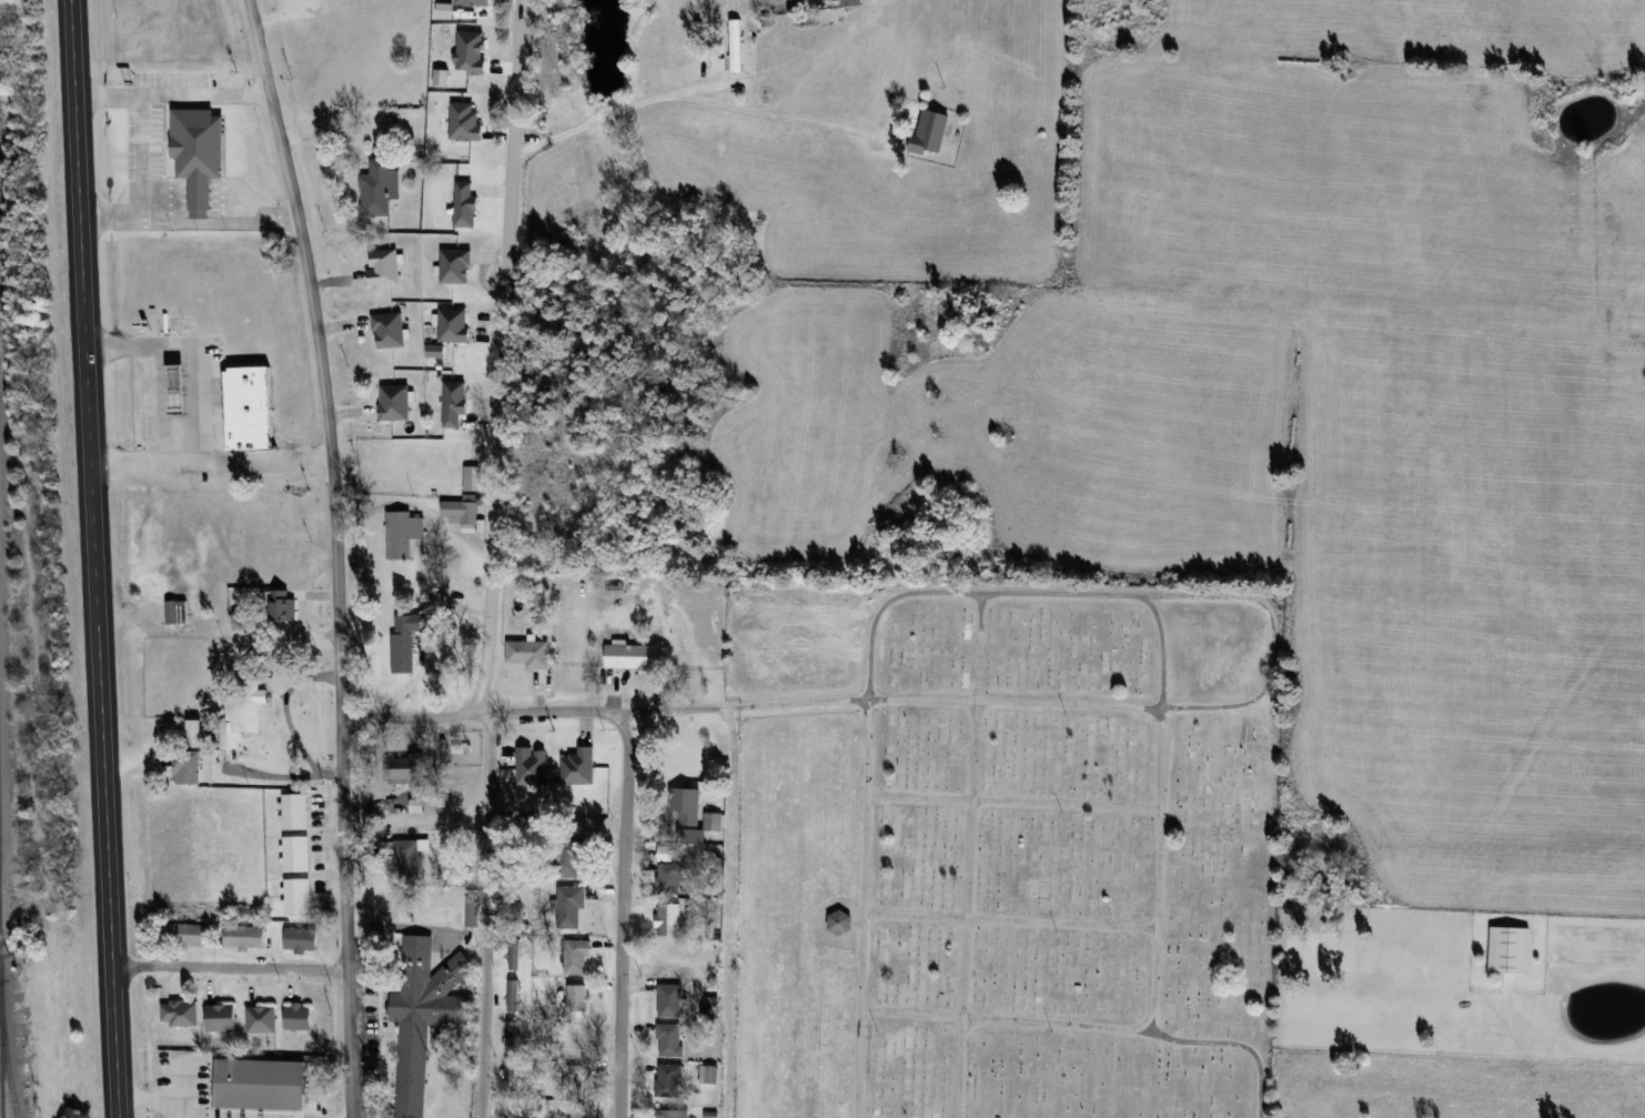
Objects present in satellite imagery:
building: (851, 2)
building: (737, 50)
building: (719, 69)
road: (704, 87)
road: (173, 92)
road: (692, 97)
road: (514, 128)
building: (932, 138)
building: (200, 154)
building: (379, 189)
road: (114, 221)
road: (154, 221)
building: (384, 266)
building: (455, 266)
building: (453, 325)
building: (388, 330)
building: (179, 381)
building: (394, 403)
road: (148, 405)
building: (251, 409)
road: (205, 414)
road: (152, 464)
building: (472, 479)
building: (403, 534)
road: (337, 554)
road: (100, 558)
road: (917, 592)
building: (435, 600)
building: (283, 605)
building: (178, 611)
building: (239, 621)
building: (627, 623)
building: (408, 637)
road: (982, 647)
road: (1163, 647)
building: (529, 656)
building: (627, 659)
road: (483, 687)
road: (939, 699)
building: (242, 713)
road: (532, 713)
building: (559, 749)
building: (191, 755)
building: (407, 769)
road: (1013, 802)
building: (686, 804)
building: (295, 810)
park: (1006, 846)
building: (296, 853)
building: (571, 856)
building: (407, 859)
road: (1158, 870)
building: (673, 878)
building: (297, 896)
building: (571, 906)
road: (968, 909)
road: (730, 910)
building: (472, 913)
road: (625, 915)
building: (674, 918)
road: (1009, 920)
building: (840, 921)
building: (184, 934)
building: (244, 937)
building: (301, 940)
building: (1512, 953)
building: (576, 956)
building: (513, 957)
road: (229, 968)
building: (512, 995)
building: (578, 997)
building: (670, 999)
building: (712, 1004)
building: (180, 1014)
building: (423, 1015)
building: (297, 1017)
building: (221, 1018)
building: (262, 1019)
road: (1091, 1026)
building: (511, 1036)
building: (577, 1037)
building: (669, 1039)
railway: (1, 1056)
building: (511, 1075)
building: (574, 1079)
building: (669, 1080)
building: (262, 1084)
road: (148, 1102)
building: (667, 1112)
building: (710, 1115)

